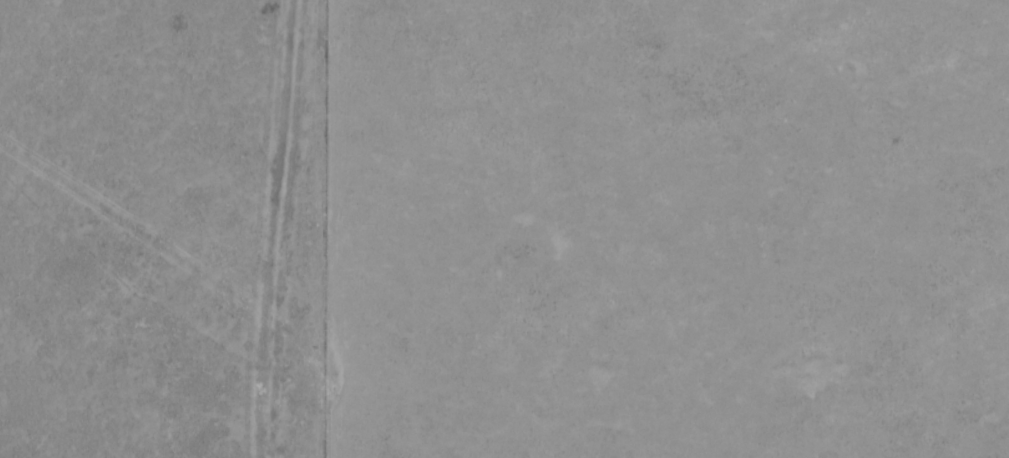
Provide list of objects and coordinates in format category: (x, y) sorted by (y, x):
road: (280, 371)
road: (213, 421)

